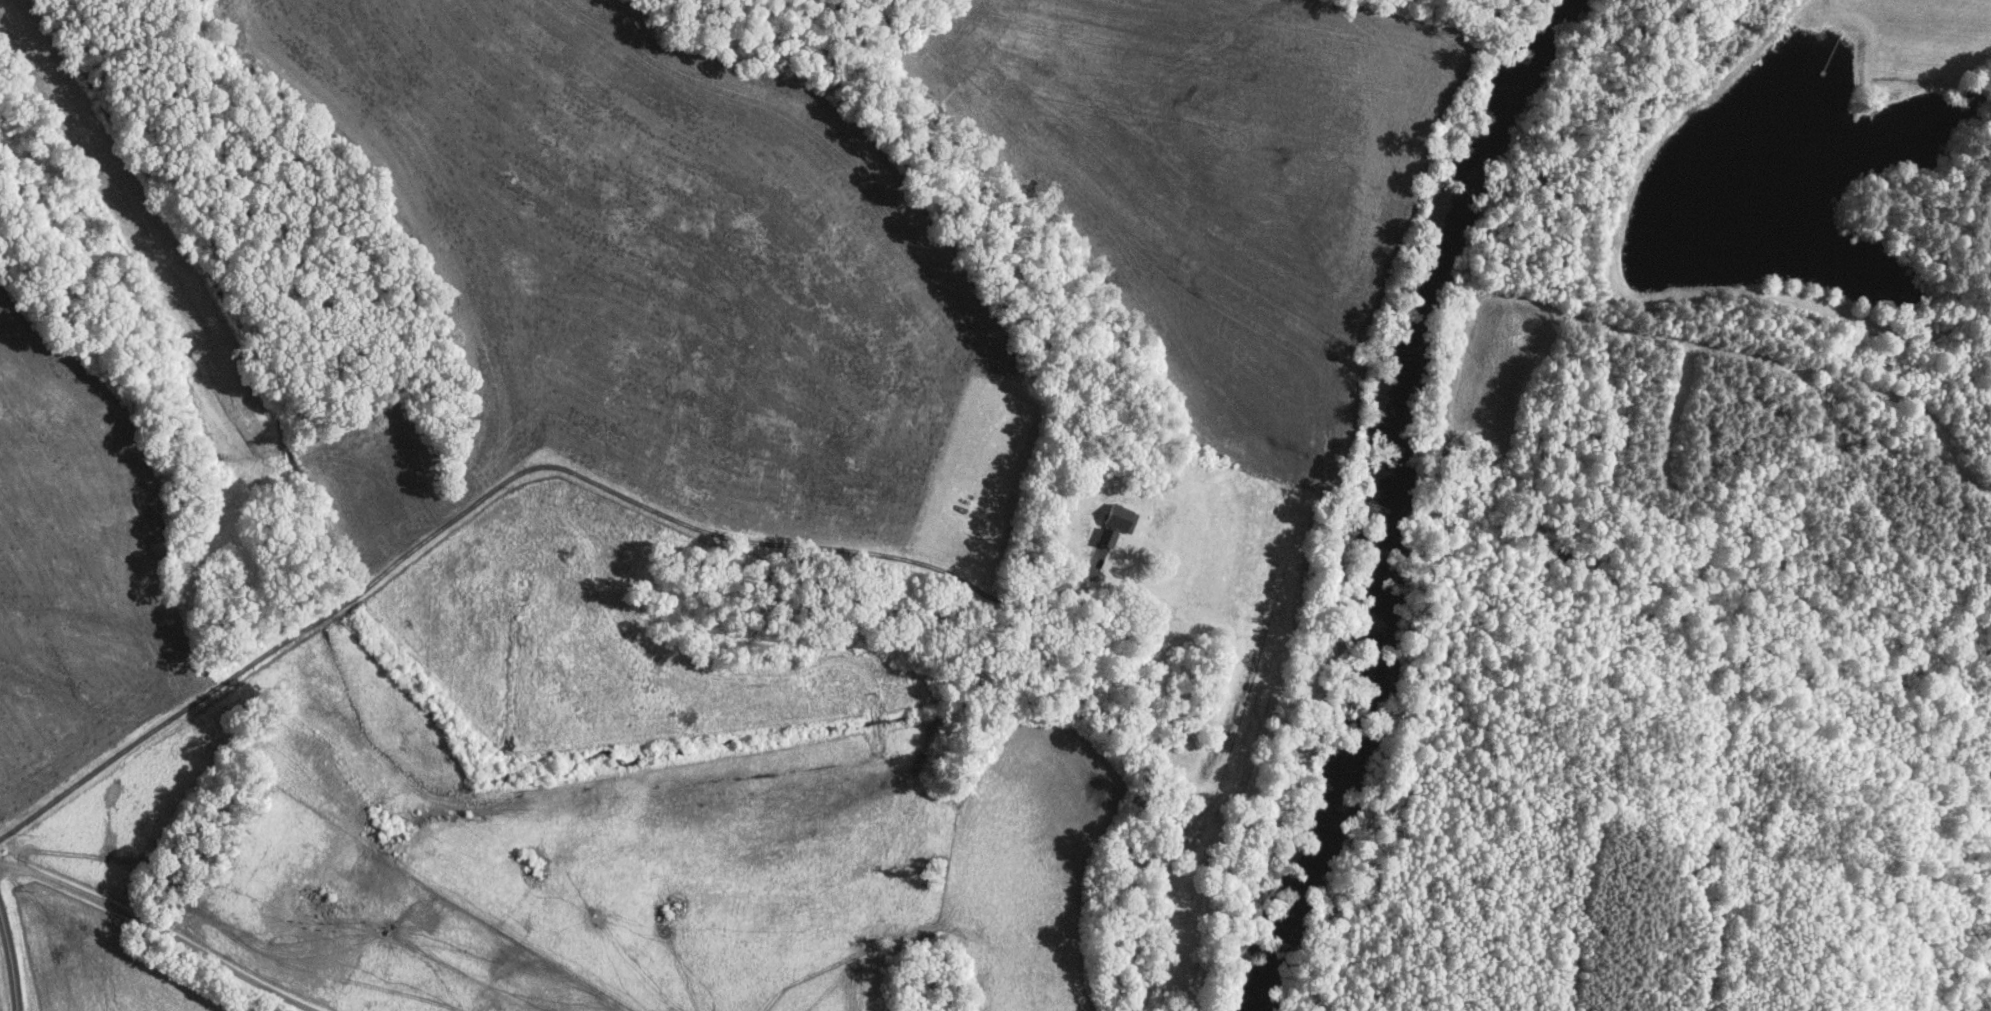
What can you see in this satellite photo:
road: (511, 477)
river: (1393, 500)
building: (1122, 517)
building: (1108, 536)
road: (161, 929)
road: (8, 971)

